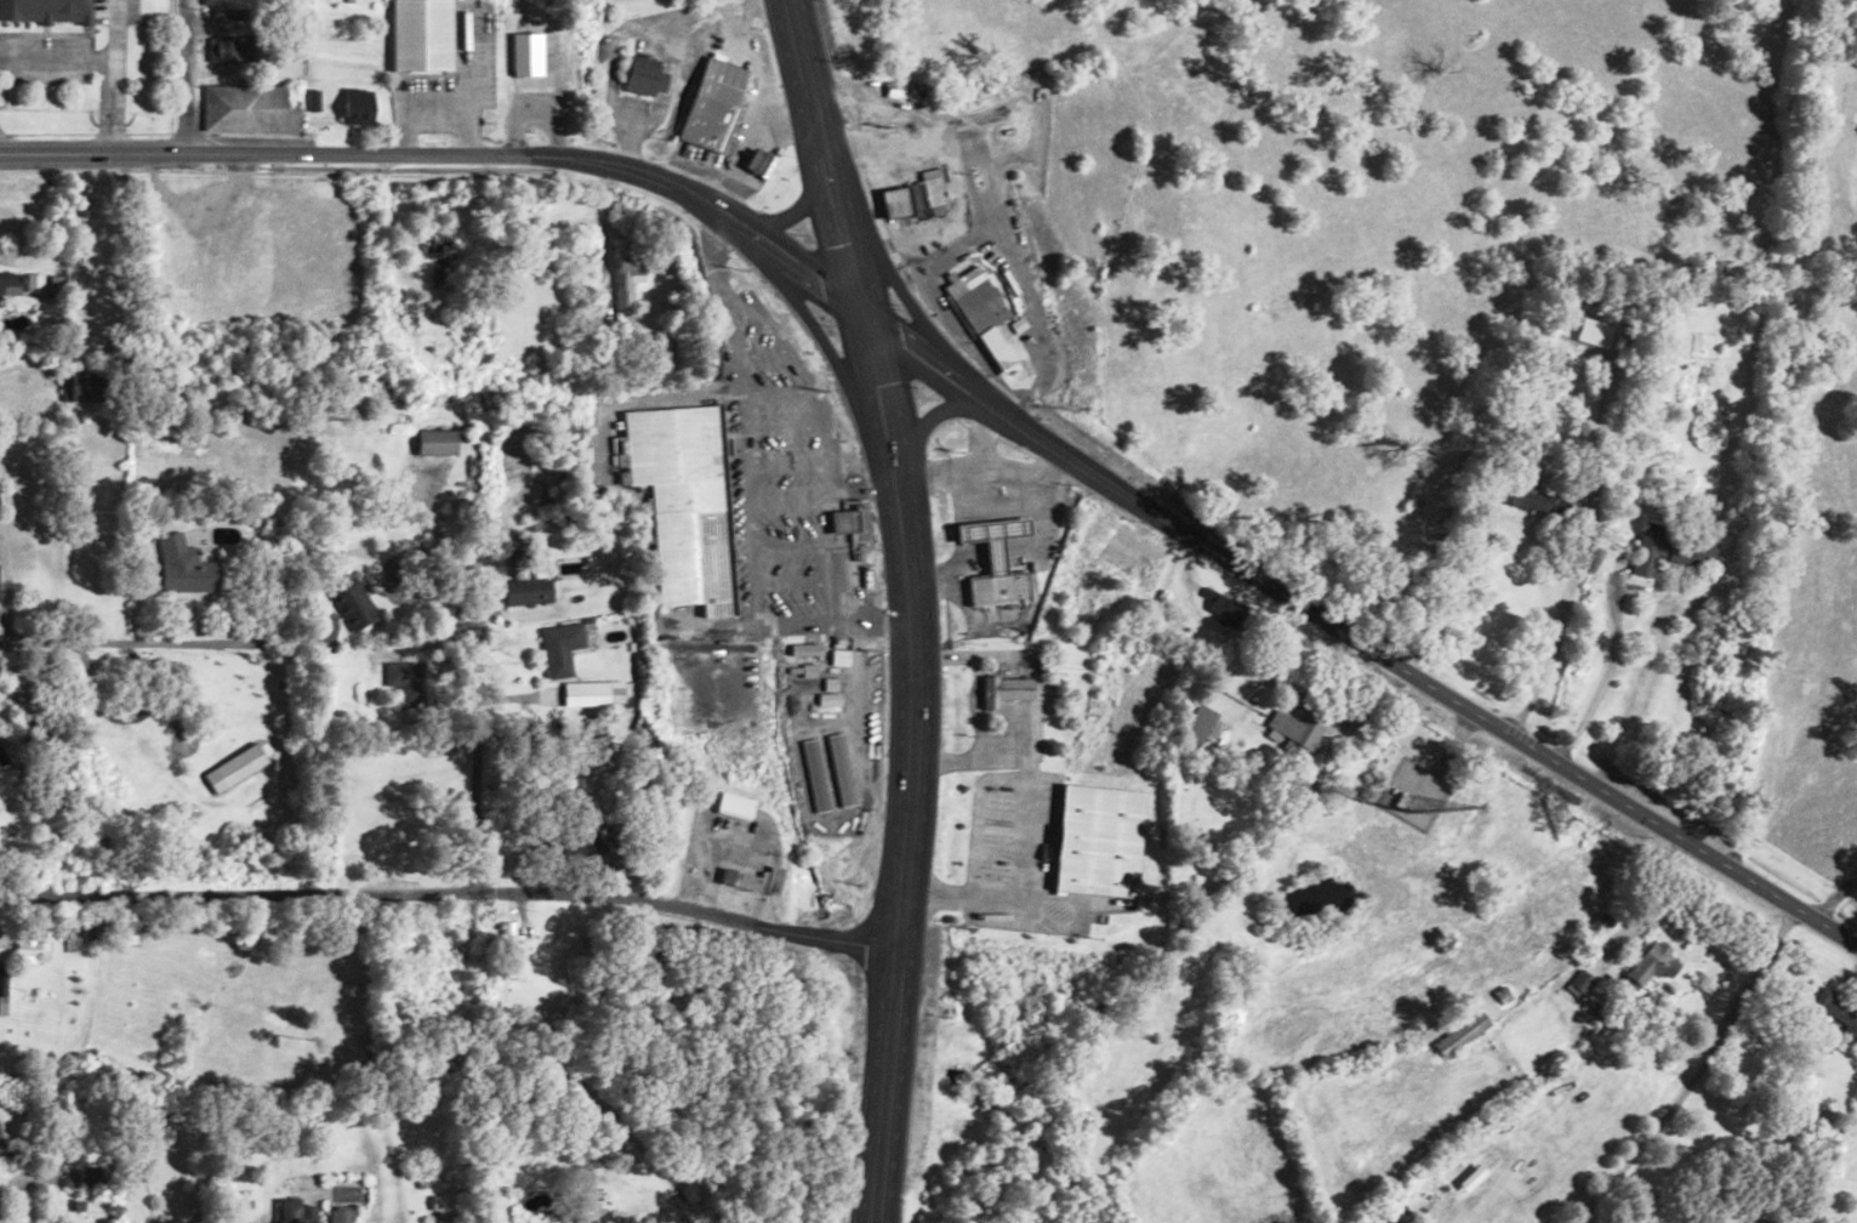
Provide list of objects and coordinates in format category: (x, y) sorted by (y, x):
building: (668, 27)
building: (224, 49)
road: (186, 76)
building: (900, 89)
building: (714, 104)
building: (247, 108)
building: (358, 108)
road: (455, 154)
road: (825, 157)
gas station: (756, 164)
building: (932, 192)
building: (896, 201)
gas station: (895, 204)
road: (798, 210)
building: (435, 252)
building: (627, 277)
building: (34, 281)
building: (10, 283)
building: (55, 283)
road: (899, 286)
building: (409, 314)
building: (986, 322)
road: (837, 372)
building: (82, 386)
road: (923, 426)
building: (435, 442)
building: (1526, 494)
building: (684, 501)
building: (847, 519)
gas station: (987, 533)
building: (1092, 539)
building: (1669, 548)
building: (991, 554)
building: (184, 569)
road: (1571, 582)
building: (525, 591)
building: (352, 602)
building: (1225, 608)
road: (297, 624)
road: (1355, 638)
building: (559, 648)
building: (408, 681)
building: (1004, 689)
building: (825, 701)
building: (1198, 726)
building: (1292, 732)
road: (556, 733)
road: (1453, 739)
building: (131, 744)
building: (233, 767)
road: (908, 767)
building: (825, 774)
building: (733, 806)
building: (592, 842)
building: (753, 880)
road: (449, 898)
building: (1003, 908)
building: (505, 949)
building: (29, 951)
building: (0, 955)
building: (1647, 967)
building: (1580, 982)
building: (2, 1005)
building: (1834, 1013)
building: (1462, 1034)
building: (90, 1177)
building: (450, 1205)
building: (338, 1215)

